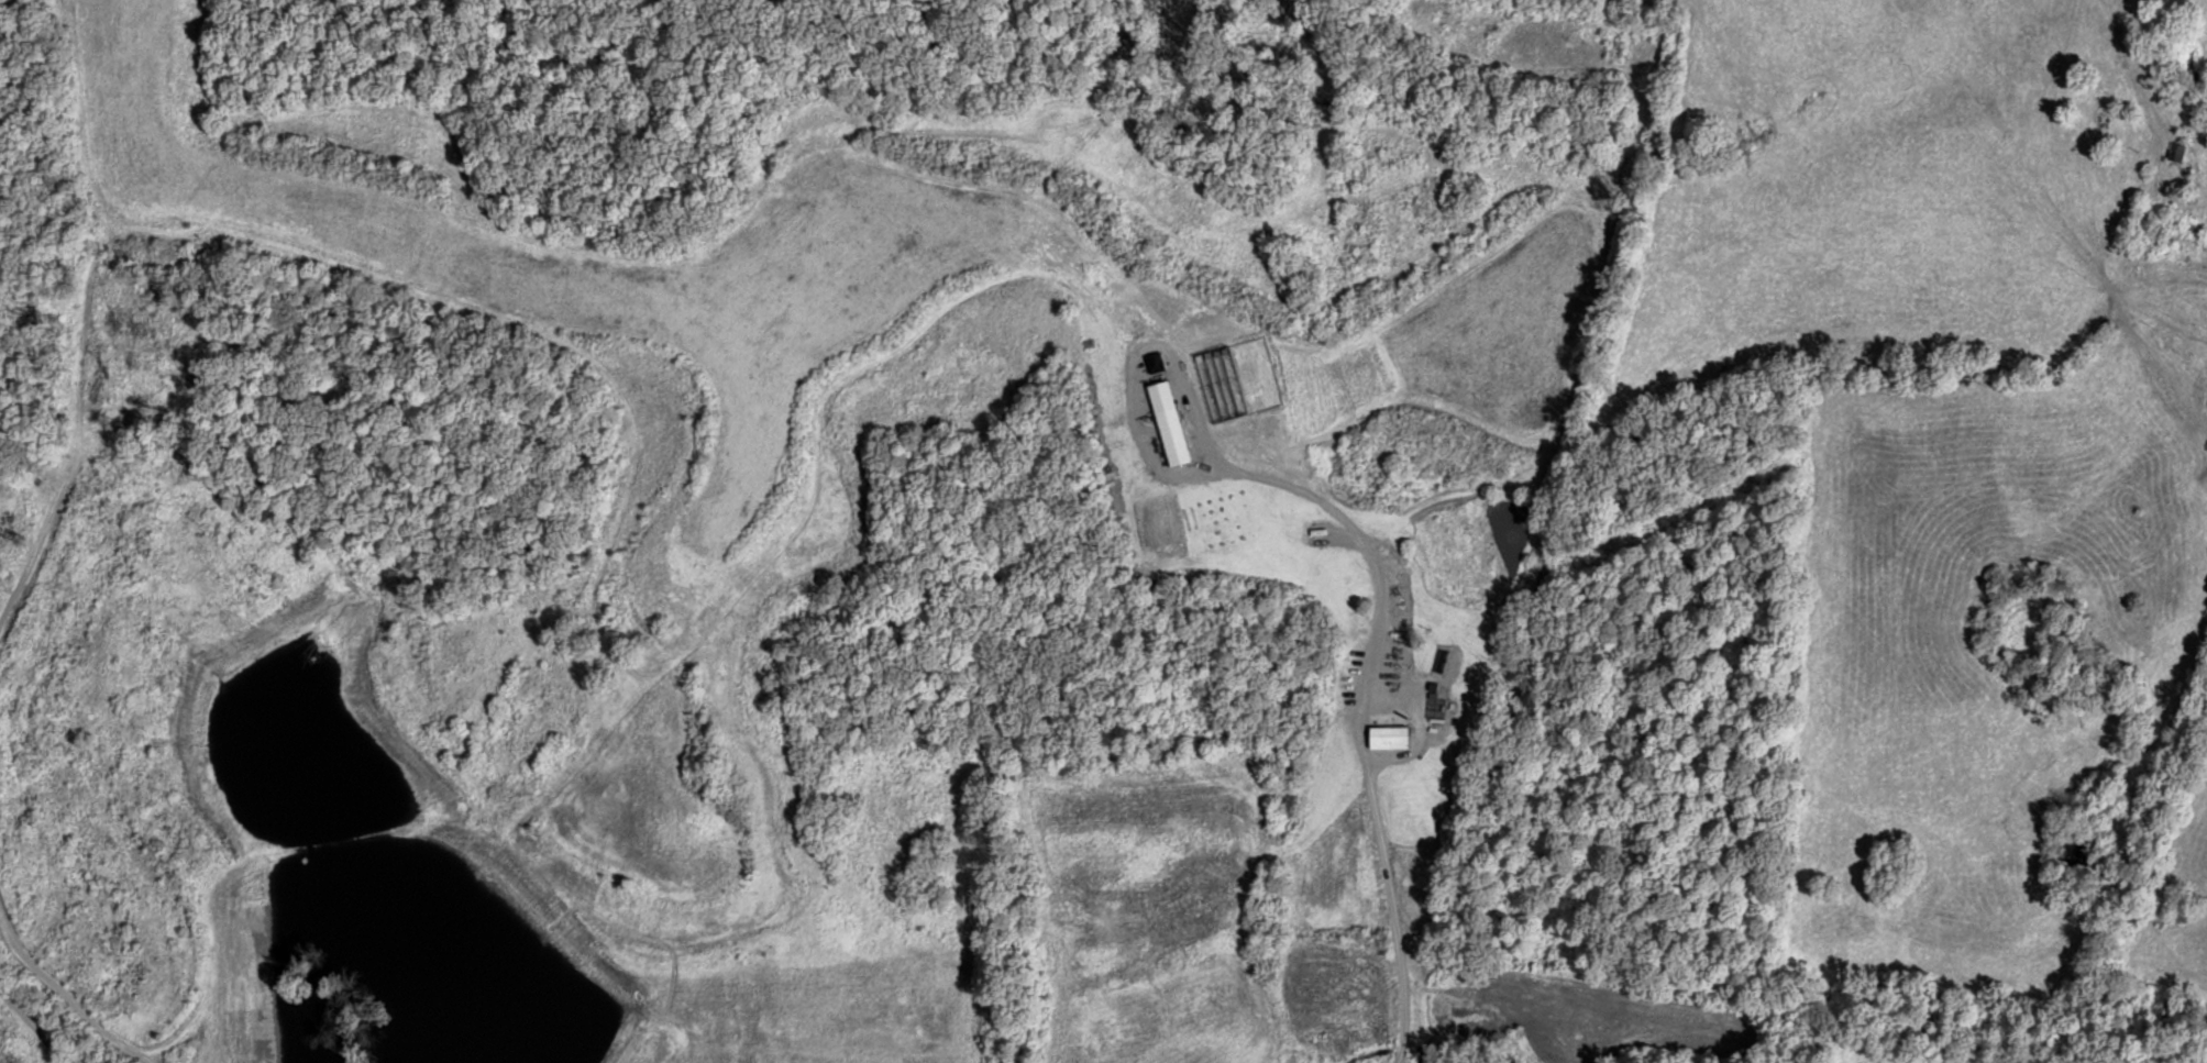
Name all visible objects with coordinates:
road: (1689, 416)
building: (1170, 436)
building: (1386, 735)

